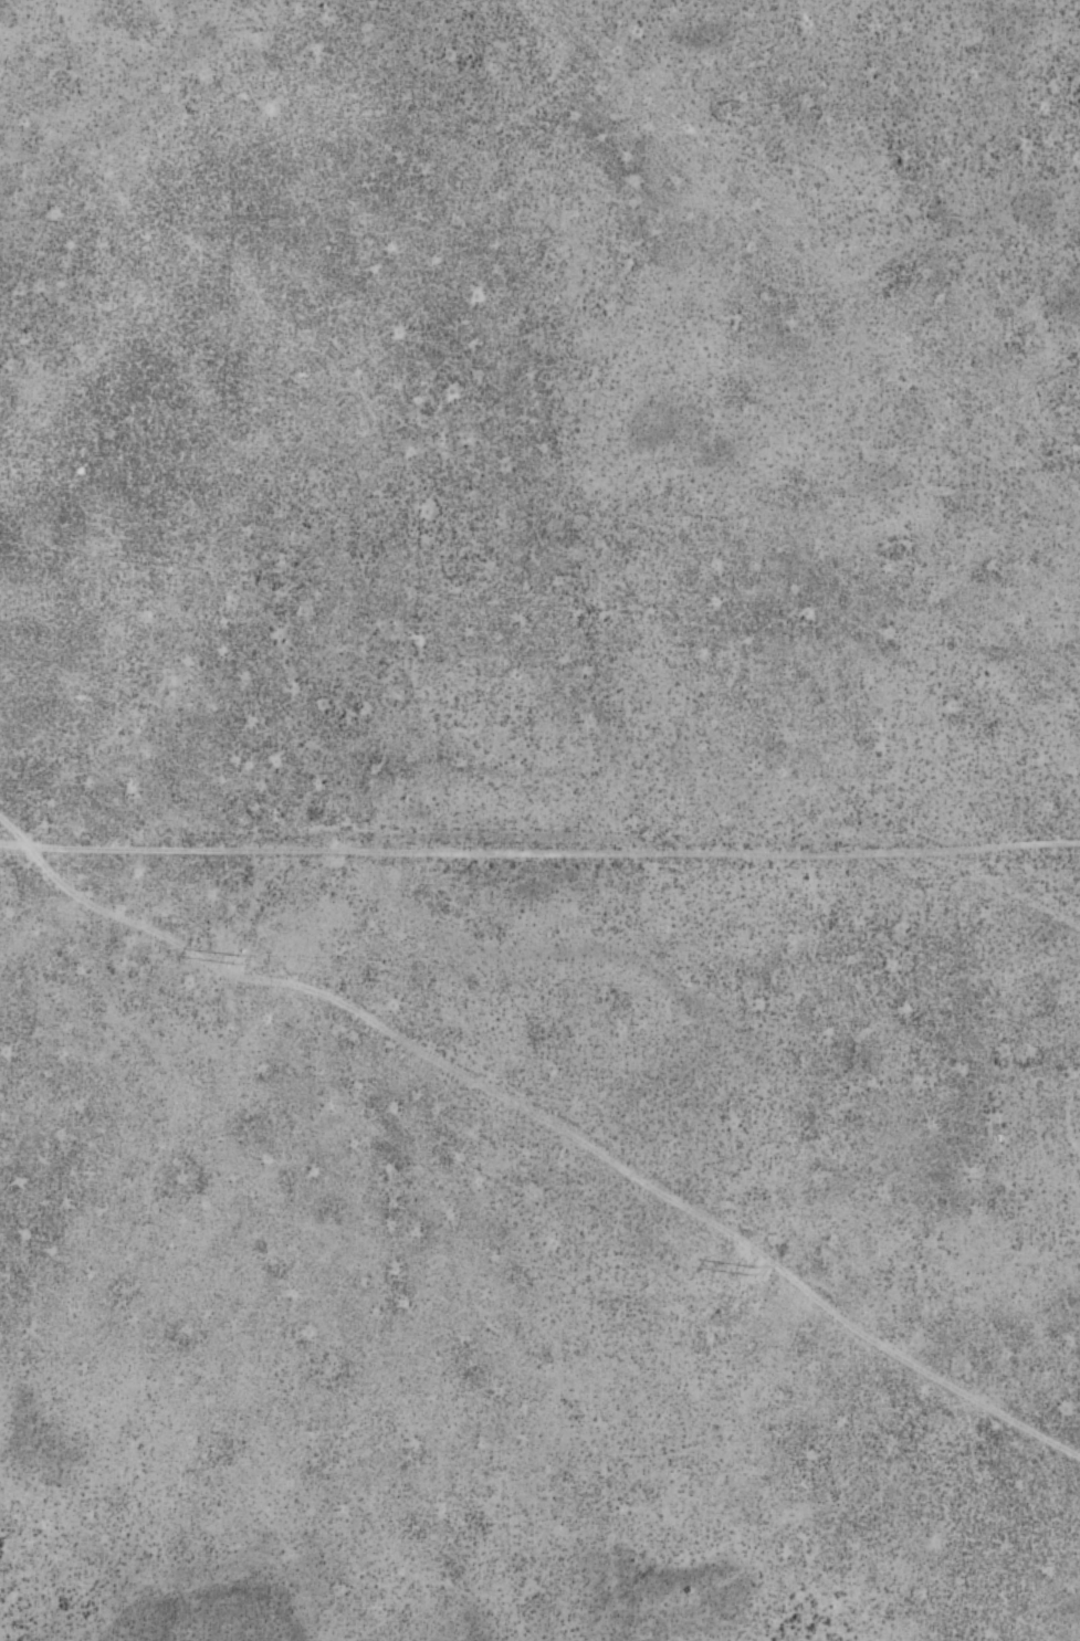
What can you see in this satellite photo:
road: (539, 849)
power tower: (234, 957)
power tower: (753, 1270)

